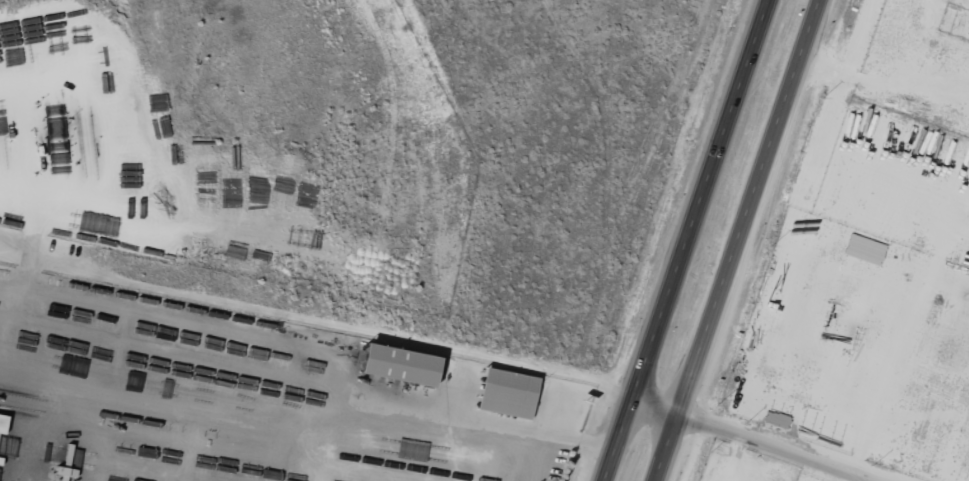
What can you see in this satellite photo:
road: (688, 240)
road: (733, 240)
building: (403, 364)
building: (510, 393)
road: (757, 438)

